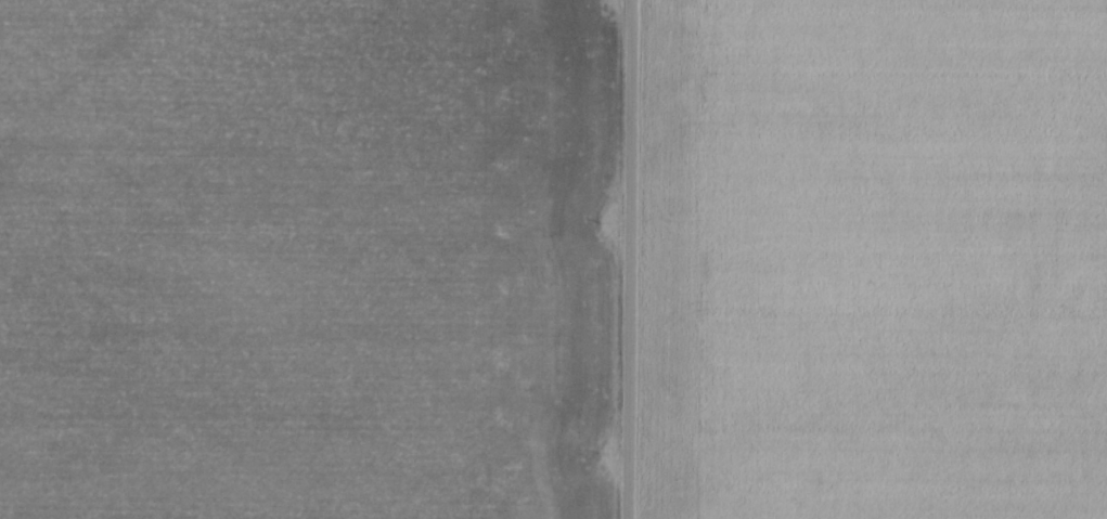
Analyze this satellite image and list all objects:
crop: (301, 259)
road: (629, 259)
crop: (876, 259)

